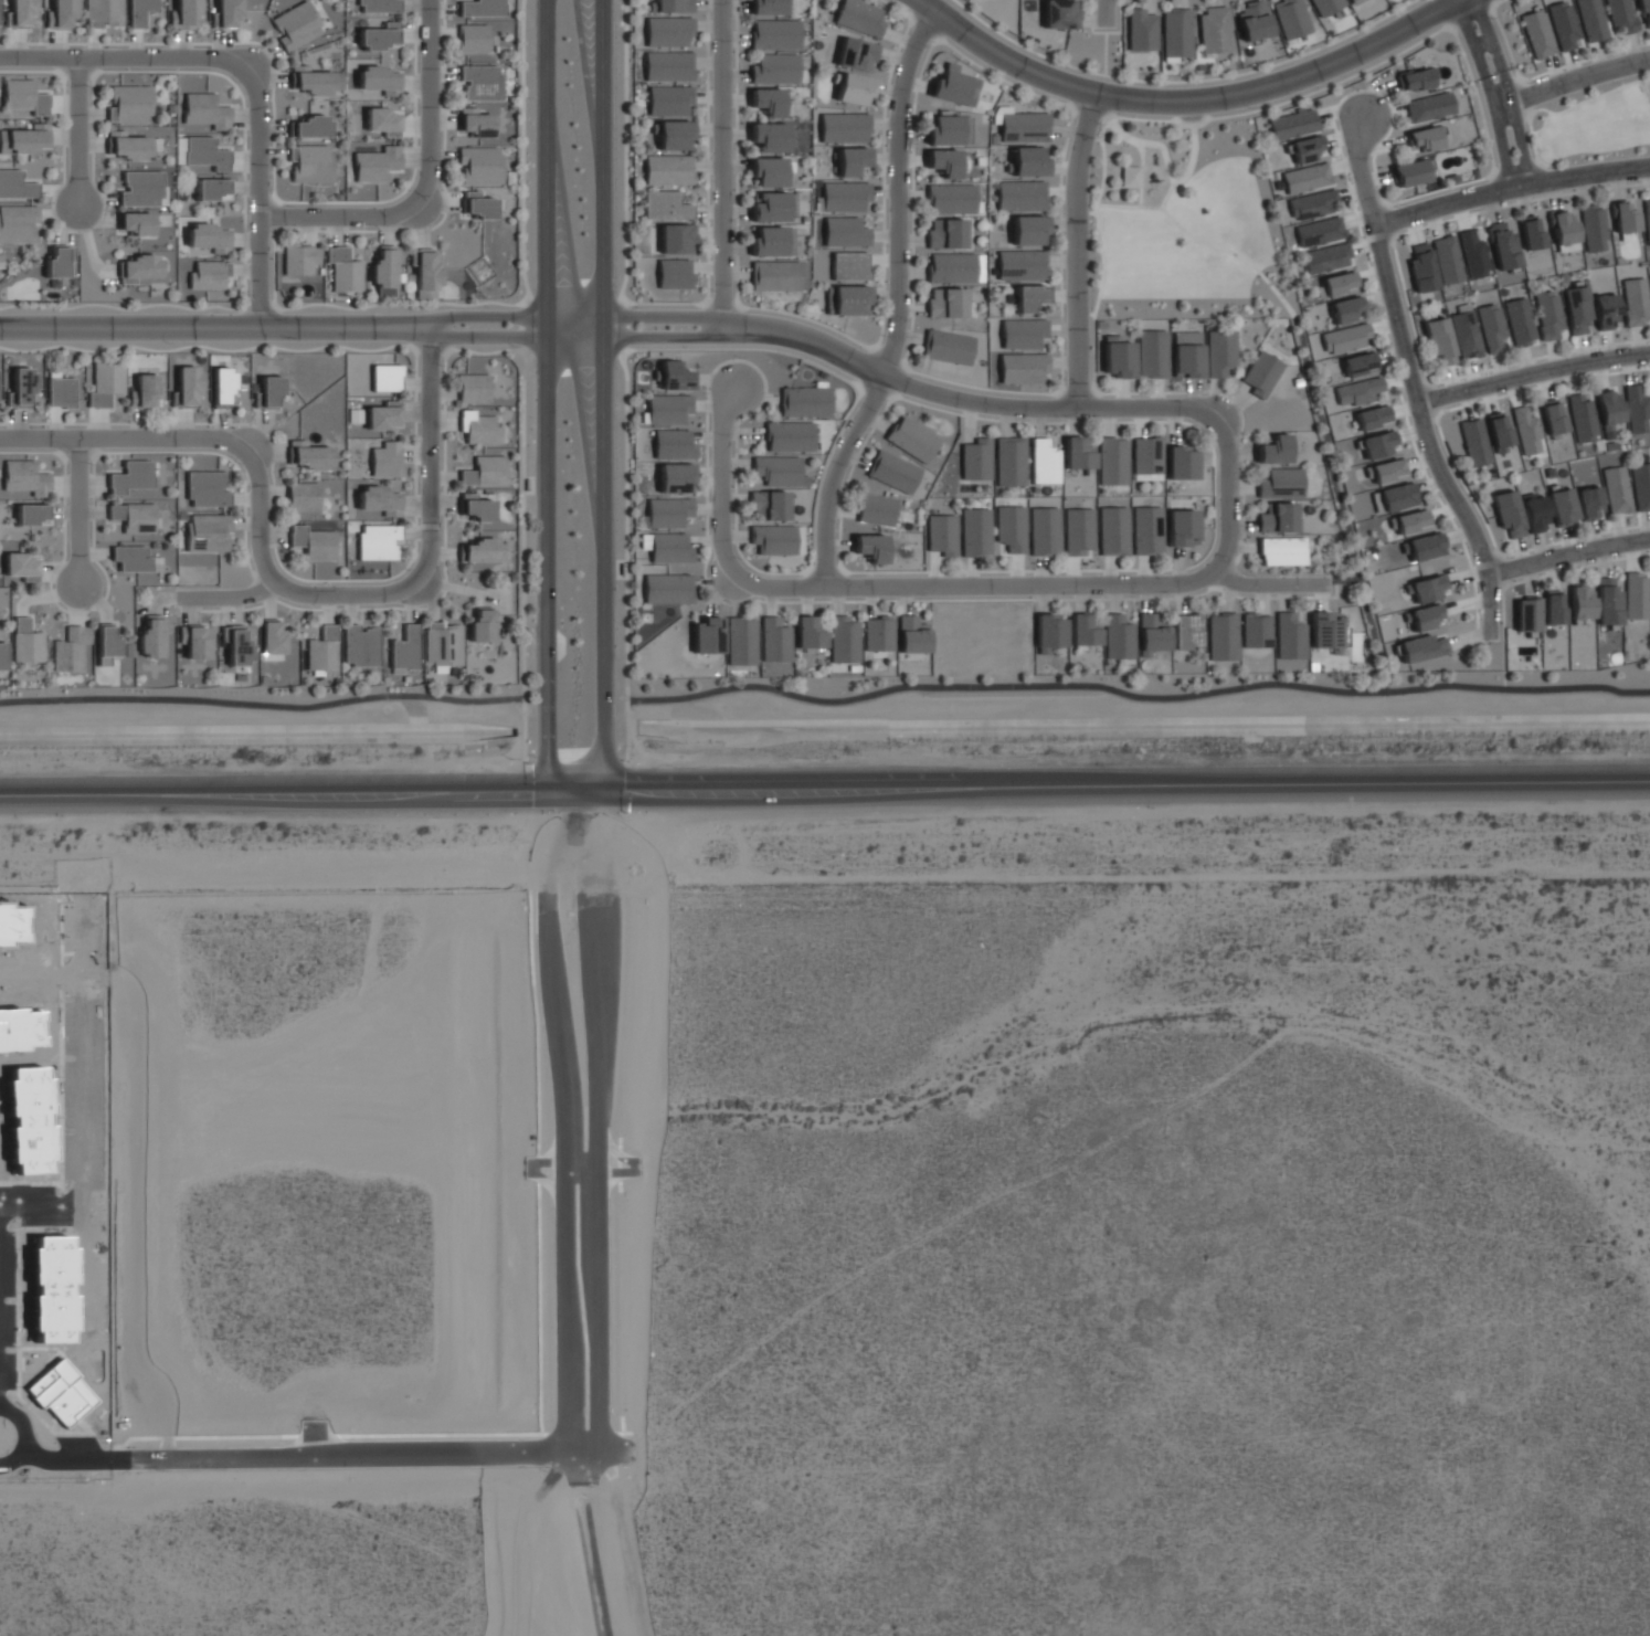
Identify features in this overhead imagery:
building: (1353, 1)
building: (379, 6)
building: (673, 6)
building: (1325, 6)
building: (768, 7)
building: (480, 8)
building: (1644, 10)
building: (139, 11)
road: (1106, 11)
building: (21, 12)
building: (103, 12)
building: (228, 12)
building: (61, 13)
building: (1059, 13)
building: (183, 14)
building: (1621, 14)
building: (859, 17)
building: (1290, 18)
building: (1252, 20)
building: (1591, 20)
building: (1563, 24)
building: (296, 25)
road: (926, 27)
building: (1213, 29)
building: (1141, 30)
building: (667, 31)
building: (1176, 32)
building: (1537, 33)
building: (774, 34)
building: (379, 35)
building: (472, 38)
road: (1457, 38)
building: (856, 54)
road: (126, 57)
building: (668, 66)
building: (774, 68)
building: (381, 80)
building: (1417, 80)
building: (315, 81)
road: (1570, 81)
building: (479, 82)
building: (954, 85)
road: (1506, 87)
road: (1106, 88)
building: (854, 89)
road: (1489, 93)
building: (23, 96)
building: (668, 99)
building: (768, 101)
road: (1184, 102)
road: (425, 103)
building: (129, 104)
building: (1429, 107)
building: (205, 110)
building: (475, 122)
building: (1292, 124)
building: (310, 126)
building: (843, 127)
building: (1024, 127)
road: (76, 129)
building: (946, 130)
building: (674, 135)
building: (769, 136)
building: (25, 138)
building: (1425, 138)
building: (127, 145)
building: (204, 152)
building: (1028, 160)
building: (850, 161)
building: (943, 161)
building: (309, 163)
building: (377, 163)
road: (722, 163)
road: (1168, 163)
building: (479, 165)
building: (668, 169)
building: (768, 171)
road: (1141, 172)
building: (1409, 172)
building: (1129, 176)
building: (1305, 178)
building: (15, 184)
building: (140, 188)
road: (1510, 188)
building: (210, 189)
building: (844, 196)
building: (1020, 196)
building: (950, 198)
road: (257, 199)
road: (1129, 203)
building: (1312, 204)
building: (478, 205)
building: (665, 205)
building: (773, 207)
road: (1086, 212)
building: (1623, 215)
road: (339, 217)
road: (1383, 218)
building: (1647, 220)
building: (18, 223)
building: (135, 223)
building: (1562, 226)
building: (1593, 228)
building: (1028, 230)
building: (845, 231)
building: (1319, 231)
building: (1531, 232)
building: (945, 233)
building: (209, 236)
road: (1379, 236)
building: (675, 238)
building: (772, 241)
road: (1220, 246)
building: (1503, 246)
road: (1078, 250)
building: (1473, 255)
building: (1328, 257)
building: (299, 258)
building: (1447, 258)
building: (57, 261)
park: (1208, 261)
building: (1022, 264)
building: (848, 265)
building: (137, 267)
building: (951, 267)
building: (385, 268)
building: (1421, 268)
building: (343, 270)
building: (674, 273)
building: (425, 274)
building: (207, 275)
building: (774, 275)
building: (1340, 282)
building: (1028, 297)
building: (850, 299)
building: (1636, 300)
road: (899, 302)
road: (722, 303)
road: (664, 304)
building: (1345, 309)
building: (1577, 309)
building: (1606, 312)
building: (1548, 314)
building: (1520, 321)
road: (622, 326)
road: (272, 328)
building: (1492, 329)
road: (838, 330)
building: (1023, 333)
building: (1466, 333)
building: (1345, 338)
building: (1439, 340)
building: (946, 347)
building: (1220, 352)
building: (1152, 353)
building: (1186, 353)
building: (1118, 357)
building: (1358, 363)
road: (441, 367)
building: (1022, 368)
building: (1261, 373)
road: (1531, 373)
road: (881, 374)
building: (674, 376)
building: (385, 377)
road: (861, 382)
road: (1410, 382)
building: (105, 383)
building: (188, 387)
building: (20, 388)
building: (222, 388)
building: (472, 388)
building: (60, 390)
building: (1357, 391)
building: (145, 392)
road: (1033, 392)
road: (1078, 392)
building: (268, 393)
road: (603, 394)
road: (542, 395)
building: (803, 401)
road: (581, 408)
building: (667, 408)
building: (1637, 408)
building: (1608, 409)
building: (383, 415)
building: (1552, 415)
building: (1373, 416)
building: (1580, 416)
building: (478, 428)
road: (1202, 430)
building: (1525, 430)
building: (1498, 431)
building: (789, 436)
road: (125, 437)
building: (911, 439)
building: (1473, 442)
building: (1378, 443)
building: (673, 444)
road: (734, 450)
building: (1273, 450)
building: (1077, 453)
building: (308, 455)
road: (427, 457)
building: (1146, 457)
building: (387, 460)
building: (975, 460)
building: (1009, 461)
building: (1112, 461)
building: (1043, 462)
building: (1180, 463)
building: (1387, 469)
building: (779, 471)
building: (485, 472)
building: (892, 472)
building: (25, 477)
building: (130, 477)
building: (675, 477)
road: (722, 481)
building: (1280, 484)
building: (1641, 485)
building: (207, 488)
building: (1617, 489)
building: (302, 496)
road: (1229, 496)
building: (1394, 497)
building: (380, 500)
building: (1589, 503)
road: (1340, 504)
building: (769, 505)
building: (1562, 506)
building: (475, 507)
building: (875, 509)
road: (76, 511)
building: (667, 511)
building: (1508, 513)
building: (1535, 513)
building: (30, 514)
road: (258, 514)
building: (133, 517)
building: (1277, 518)
building: (1411, 520)
building: (1181, 527)
building: (1011, 528)
building: (1146, 529)
building: (1044, 530)
building: (1078, 530)
building: (1113, 530)
building: (208, 531)
building: (975, 531)
building: (942, 534)
building: (772, 539)
building: (378, 541)
building: (313, 542)
building: (870, 547)
building: (1425, 547)
building: (669, 548)
building: (480, 550)
building: (1281, 551)
road: (1568, 555)
building: (130, 558)
building: (21, 566)
road: (825, 569)
road: (1032, 584)
building: (667, 588)
building: (1429, 588)
road: (295, 591)
building: (1636, 594)
building: (1580, 602)
building: (1607, 602)
building: (1553, 606)
building: (1526, 613)
building: (1425, 616)
building: (482, 625)
building: (1256, 630)
building: (1082, 631)
building: (1187, 631)
building: (1325, 631)
building: (1049, 632)
building: (807, 633)
building: (877, 633)
building: (911, 634)
building: (1151, 634)
building: (152, 635)
building: (707, 635)
building: (1289, 635)
building: (272, 636)
building: (1117, 636)
building: (1221, 636)
building: (843, 638)
building: (773, 640)
building: (194, 641)
building: (740, 641)
building: (27, 642)
building: (235, 643)
building: (106, 644)
building: (442, 644)
building: (359, 645)
building: (1422, 647)
building: (70, 648)
building: (404, 648)
building: (322, 650)
road: (1136, 696)
road: (261, 706)
road: (575, 766)
road: (1125, 785)
traffic signals: (602, 789)
road: (574, 790)
road: (273, 791)
traffic signals: (547, 791)
road: (569, 1122)
road: (602, 1122)
road: (588, 1171)
road: (23, 1426)
road: (364, 1459)
road: (73, 1464)
road: (15, 1465)

